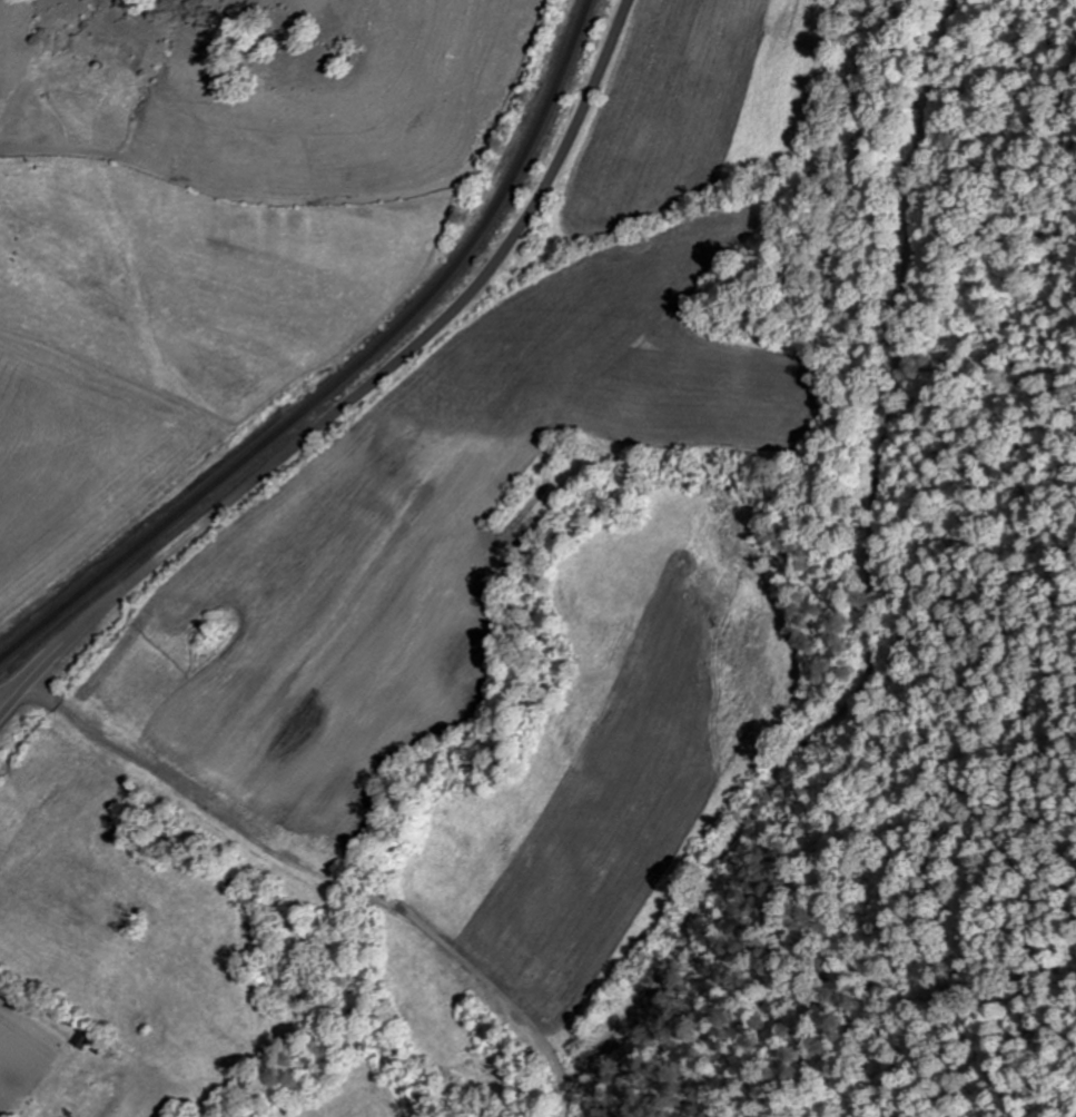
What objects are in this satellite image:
railway: (346, 369)
road: (362, 389)

